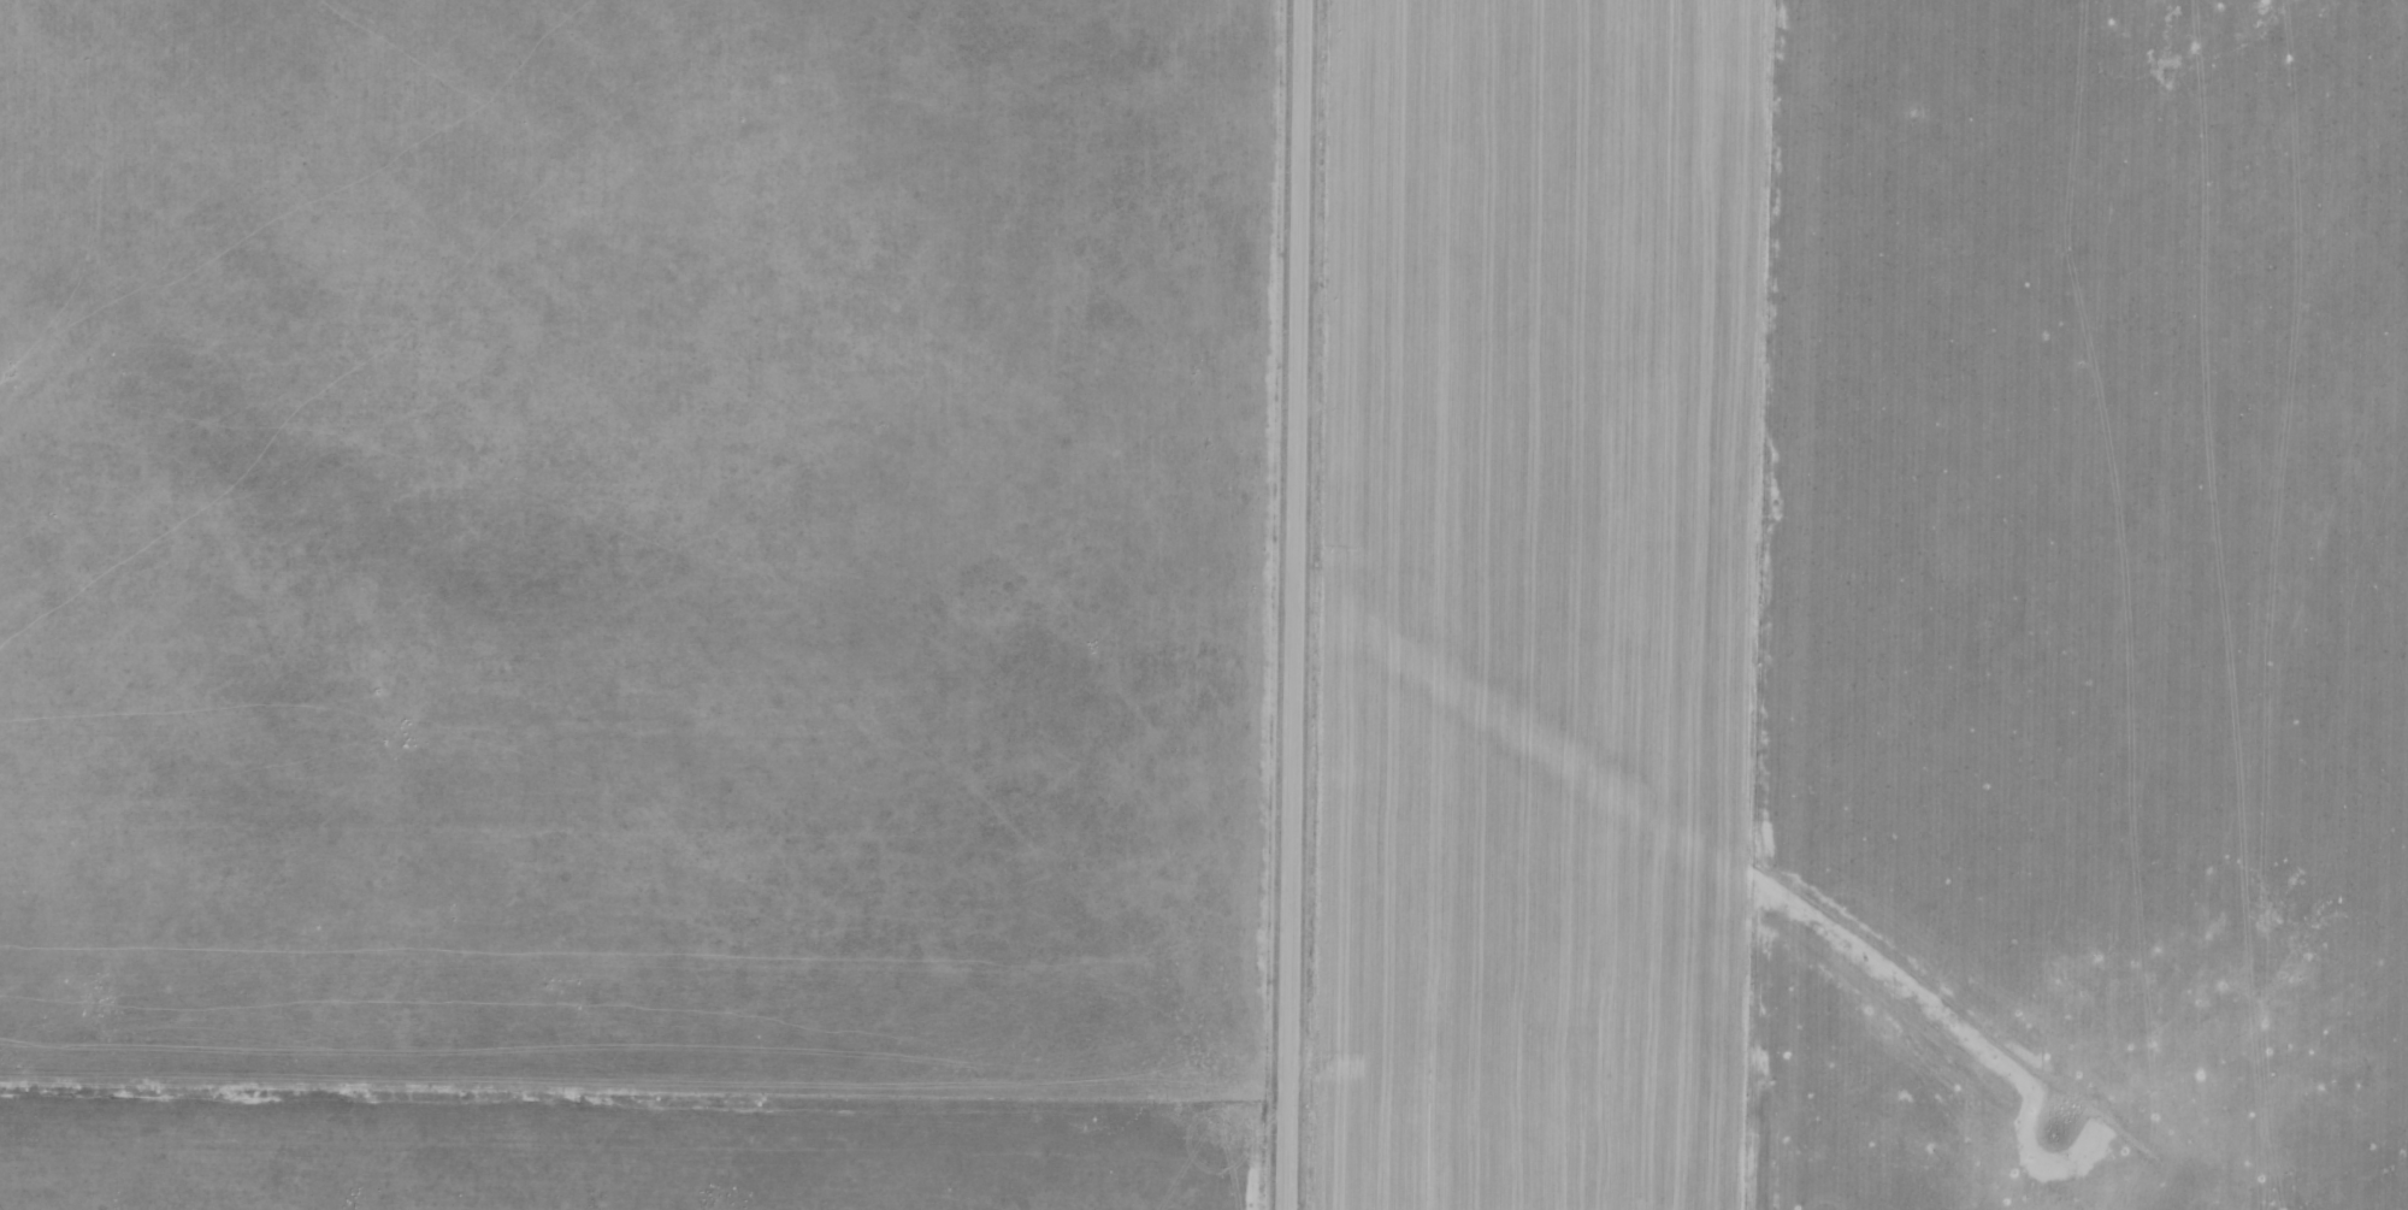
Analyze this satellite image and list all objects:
road: (1293, 604)
road: (1675, 822)

